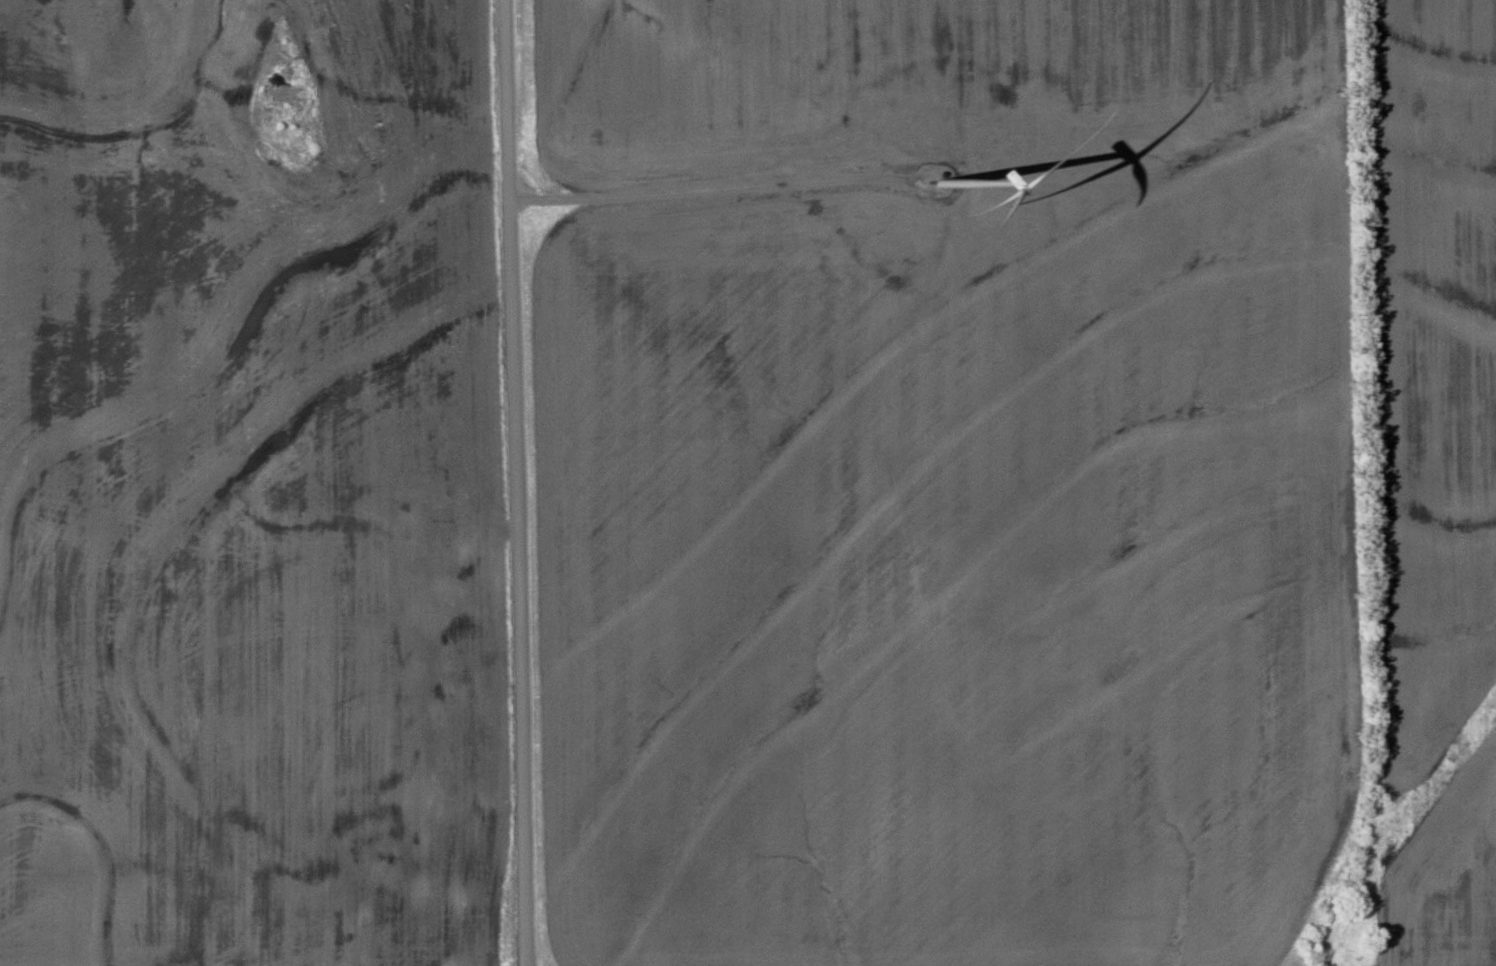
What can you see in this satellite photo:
wind turbine: (935, 187)
road: (520, 482)

